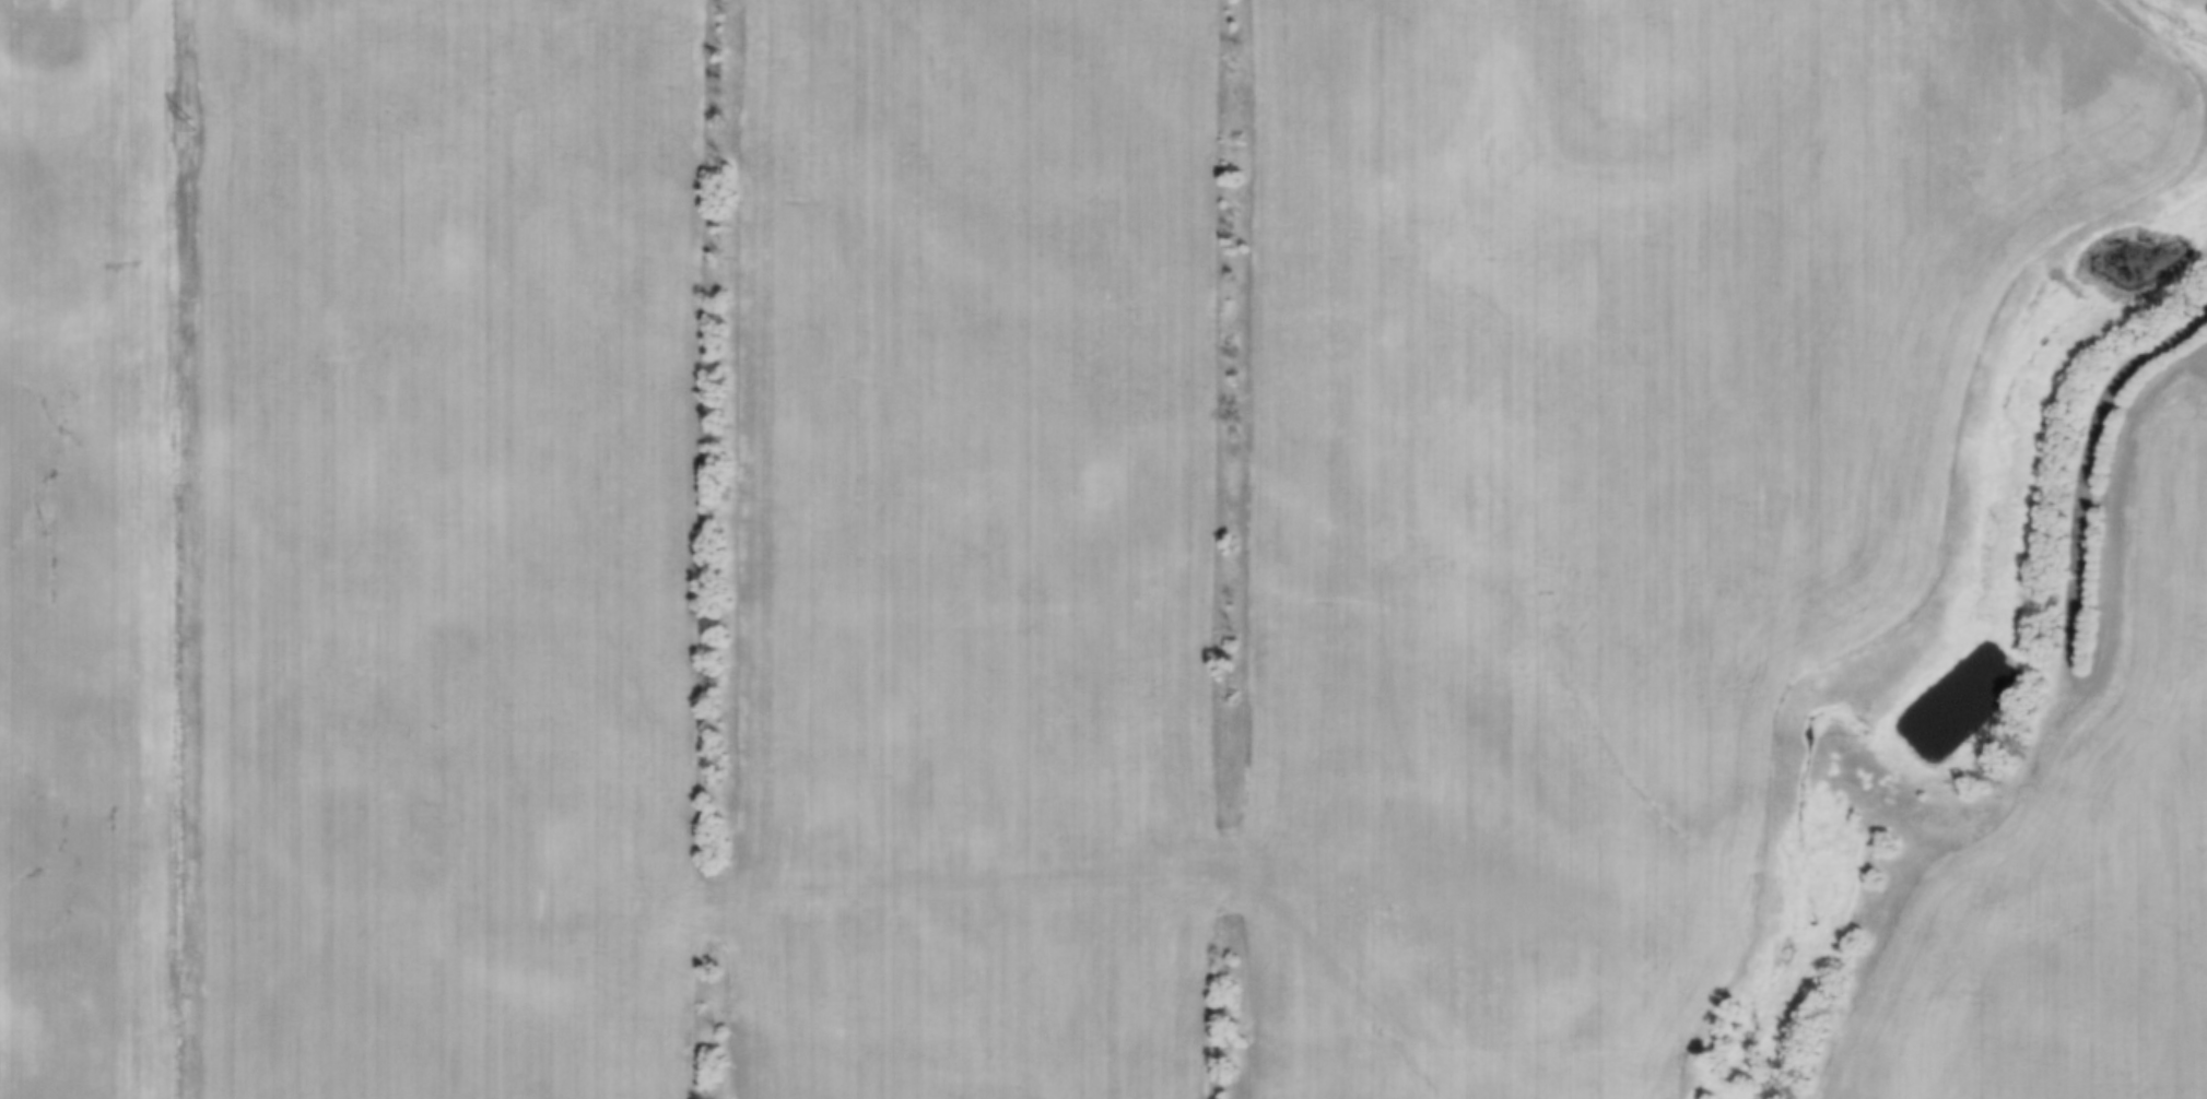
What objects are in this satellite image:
power tower: (191, 122)
road: (1742, 847)
road: (1347, 985)

